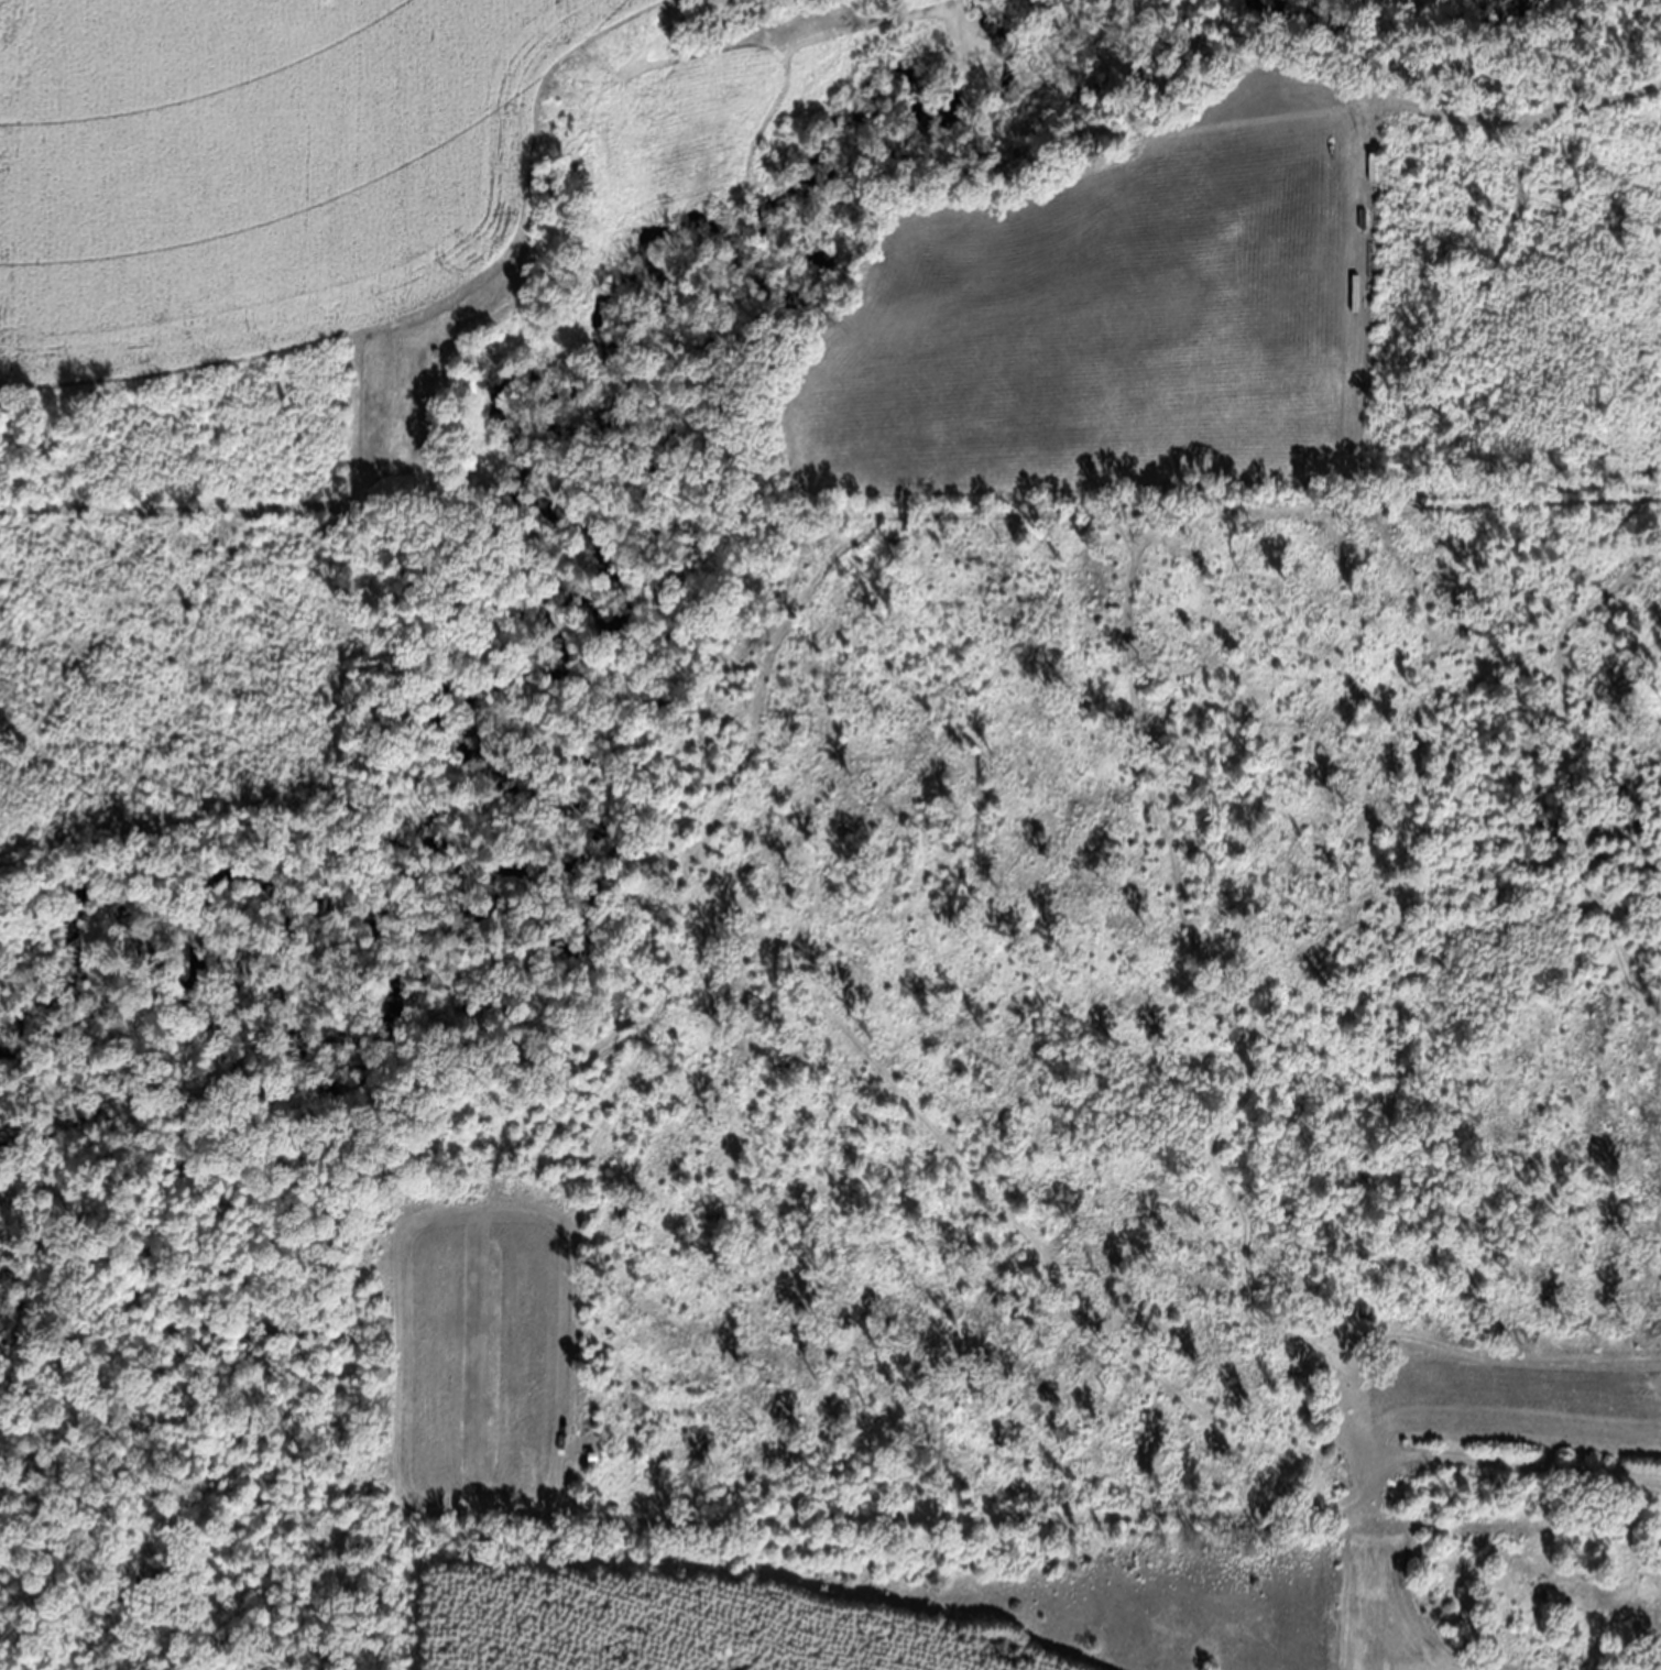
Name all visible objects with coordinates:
building: (1342, 1488)

